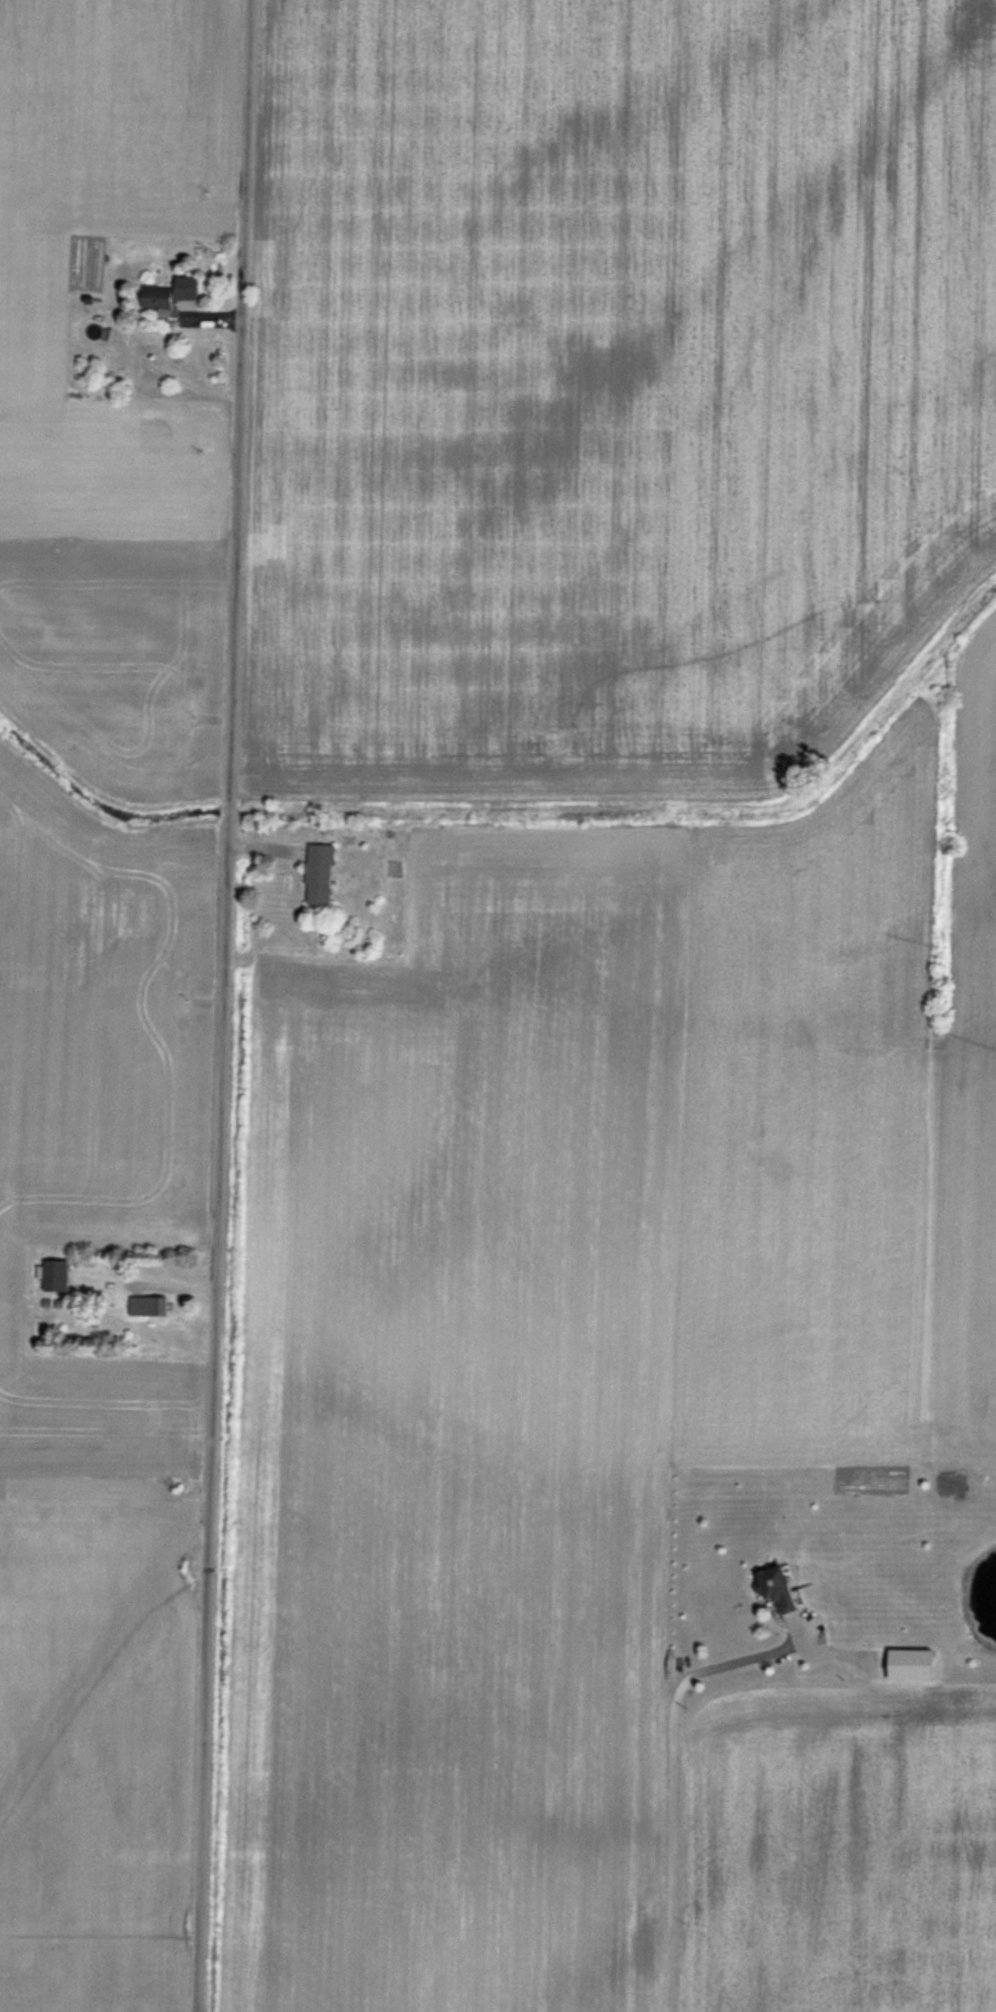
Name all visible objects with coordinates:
building: (175, 295)
building: (321, 873)
road: (223, 1006)
building: (57, 1275)
building: (154, 1306)
building: (784, 1590)
road: (671, 1784)

